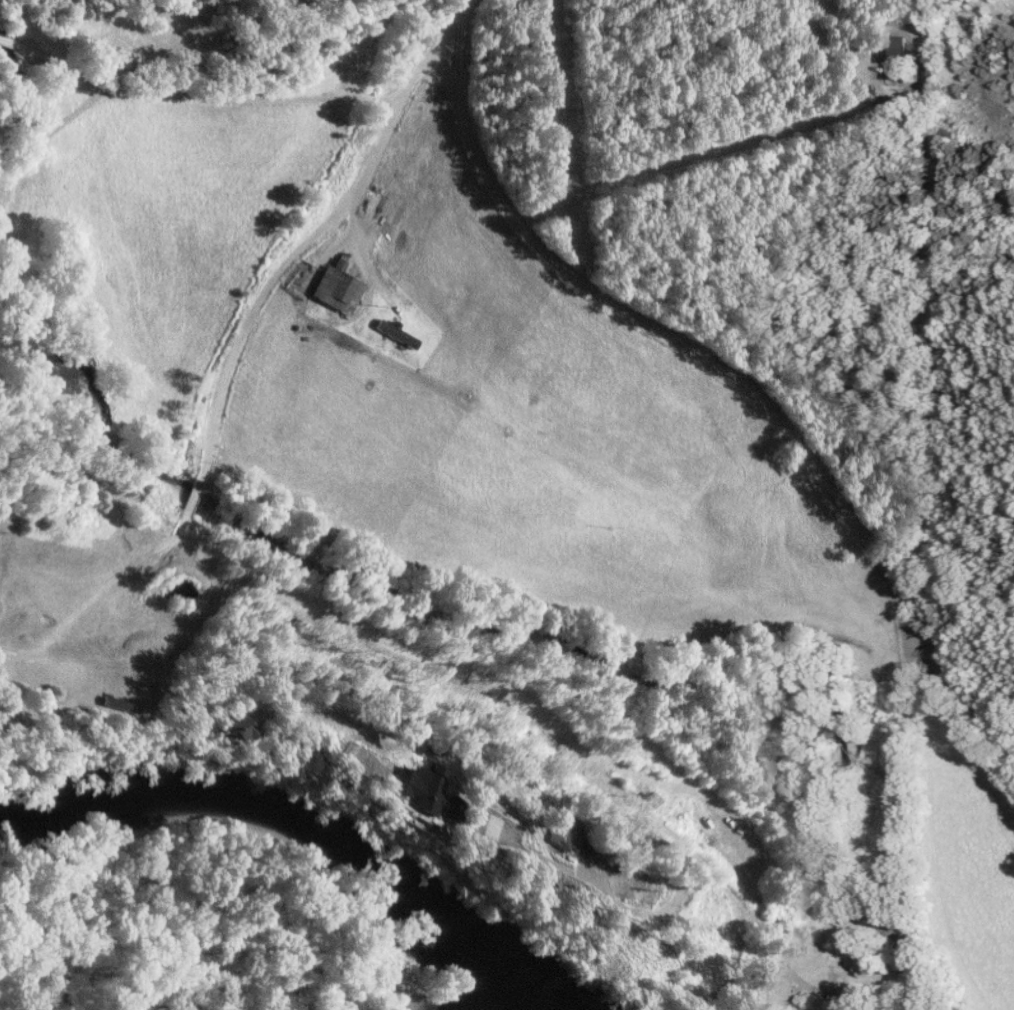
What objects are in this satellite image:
road: (450, 32)
road: (358, 45)
building: (894, 55)
road: (223, 91)
road: (274, 285)
building: (335, 288)
building: (394, 332)
road: (737, 386)
road: (514, 692)
building: (226, 727)
building: (411, 791)
river: (289, 811)
building: (556, 833)

